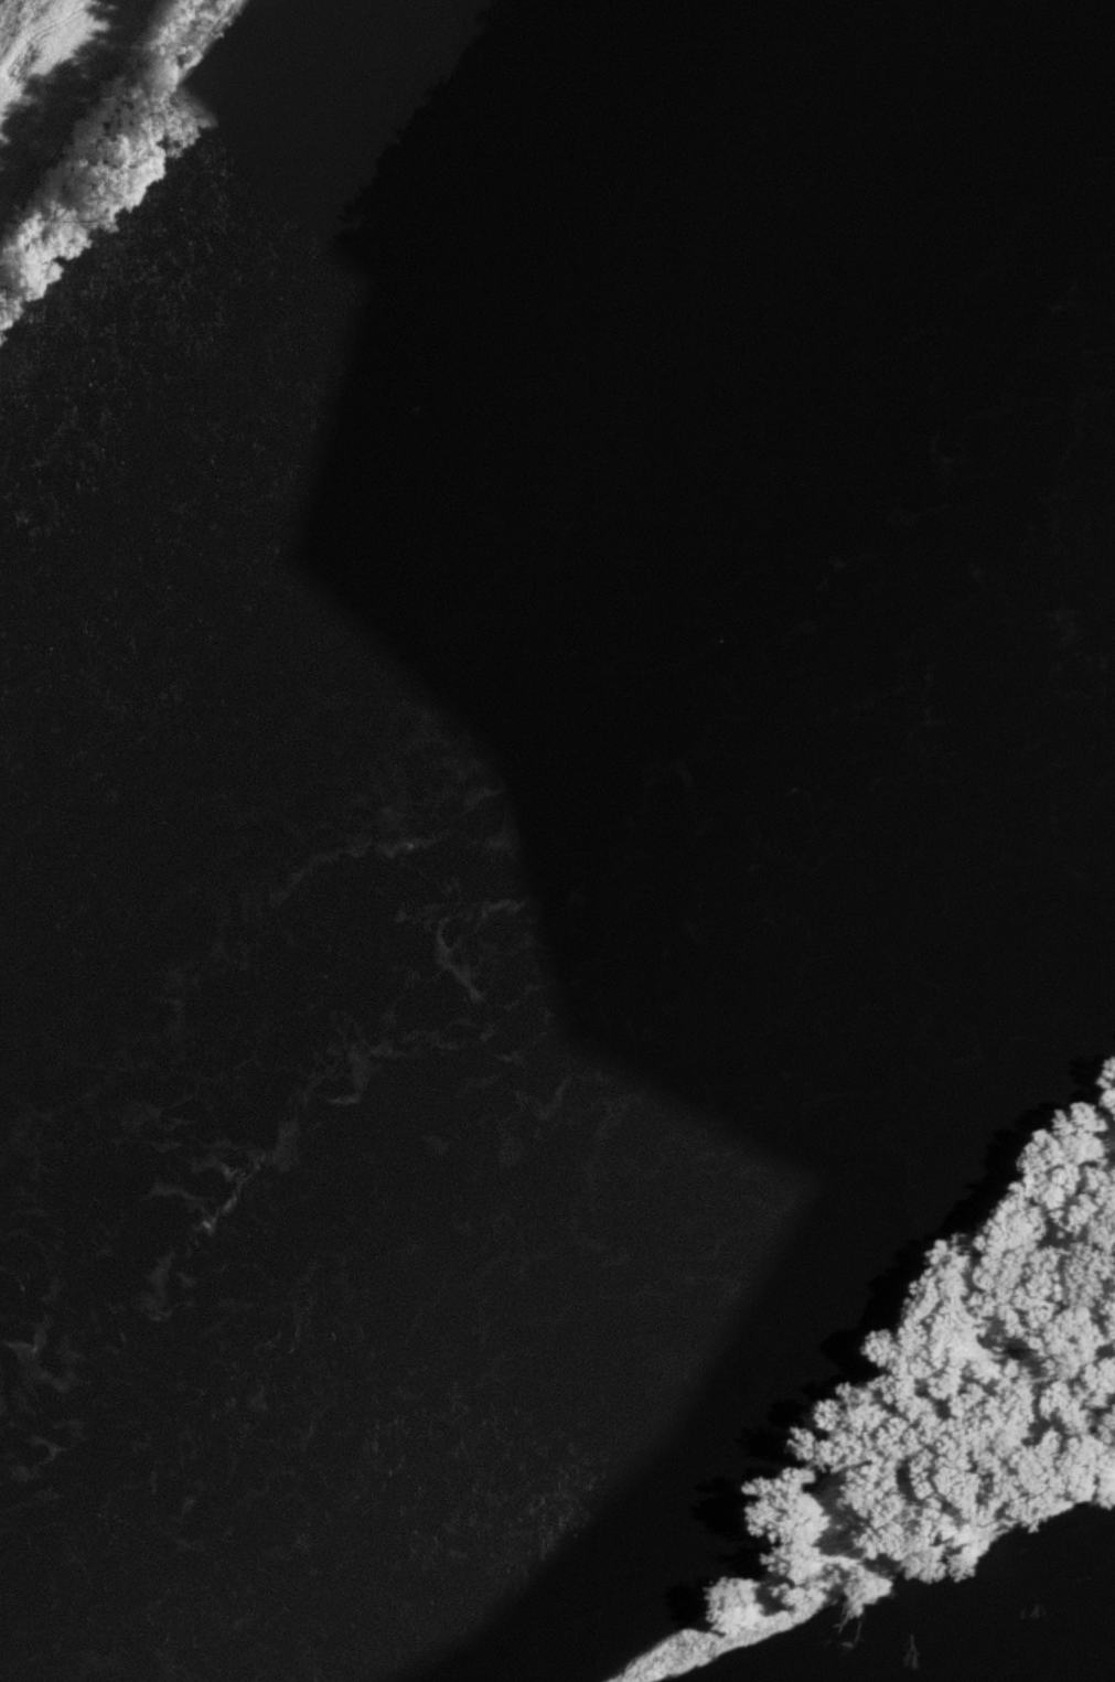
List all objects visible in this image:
river: (871, 275)
river: (366, 953)

